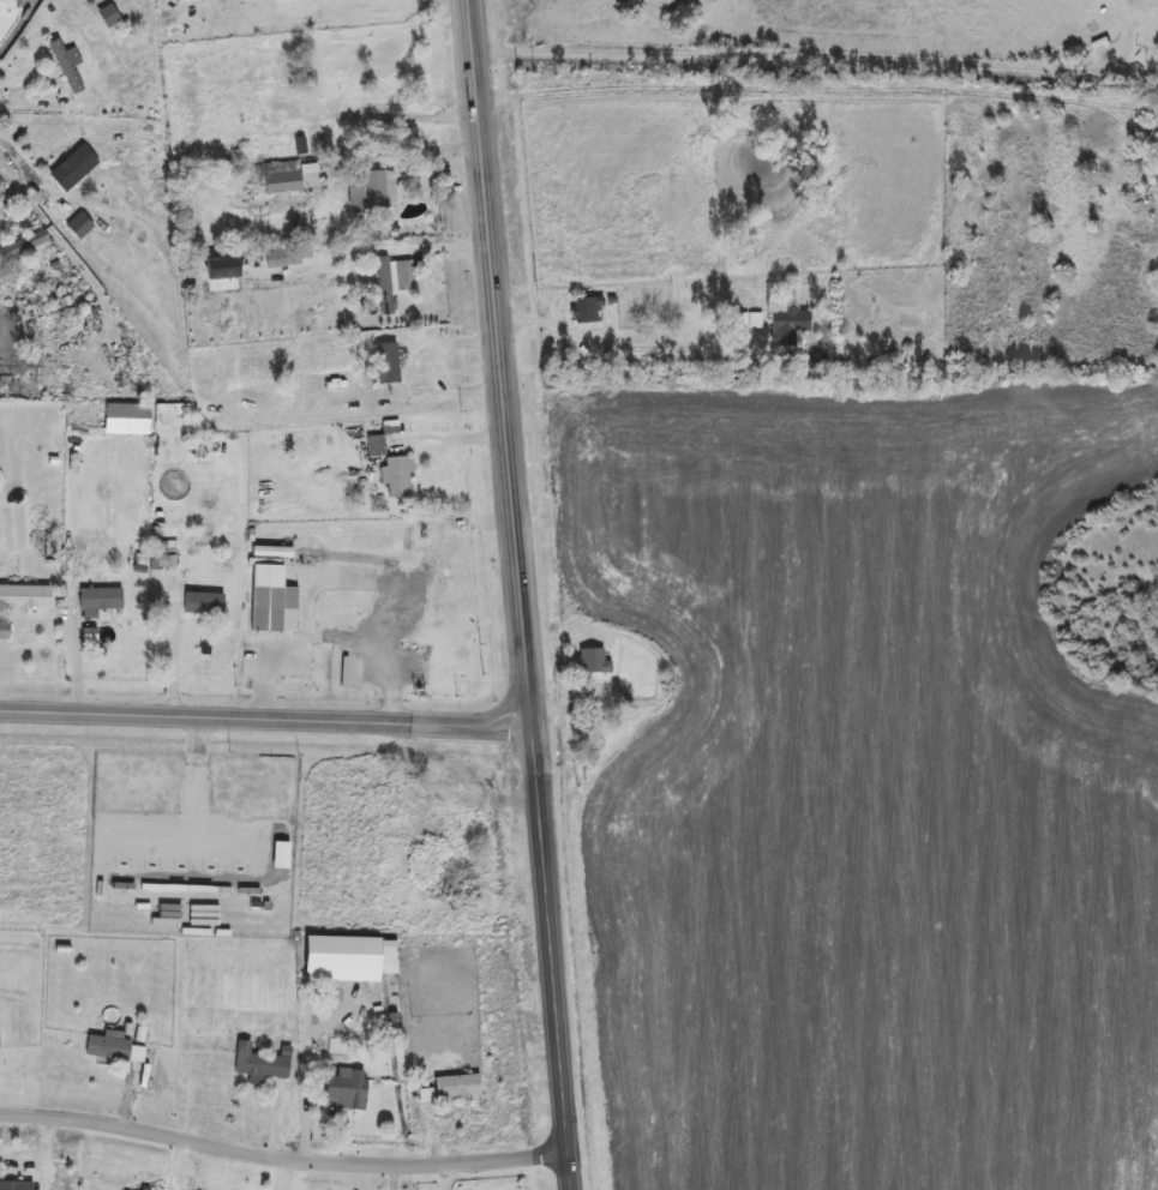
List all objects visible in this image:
road: (18, 24)
road: (794, 58)
building: (1152, 62)
building: (67, 68)
road: (815, 80)
road: (38, 95)
building: (286, 112)
road: (397, 116)
road: (25, 154)
building: (74, 169)
building: (290, 179)
road: (20, 182)
building: (374, 191)
building: (24, 247)
building: (394, 282)
building: (588, 312)
building: (750, 323)
building: (791, 324)
road: (611, 336)
road: (500, 361)
building: (388, 365)
building: (366, 398)
building: (377, 447)
building: (198, 453)
building: (398, 479)
building: (25, 599)
building: (272, 602)
building: (200, 605)
building: (101, 606)
road: (332, 627)
building: (5, 633)
road: (173, 639)
building: (594, 663)
road: (264, 717)
road: (197, 818)
road: (230, 840)
road: (553, 956)
building: (109, 1050)
building: (260, 1065)
building: (458, 1088)
building: (346, 1092)
road: (43, 1155)
road: (283, 1165)
building: (16, 1186)

